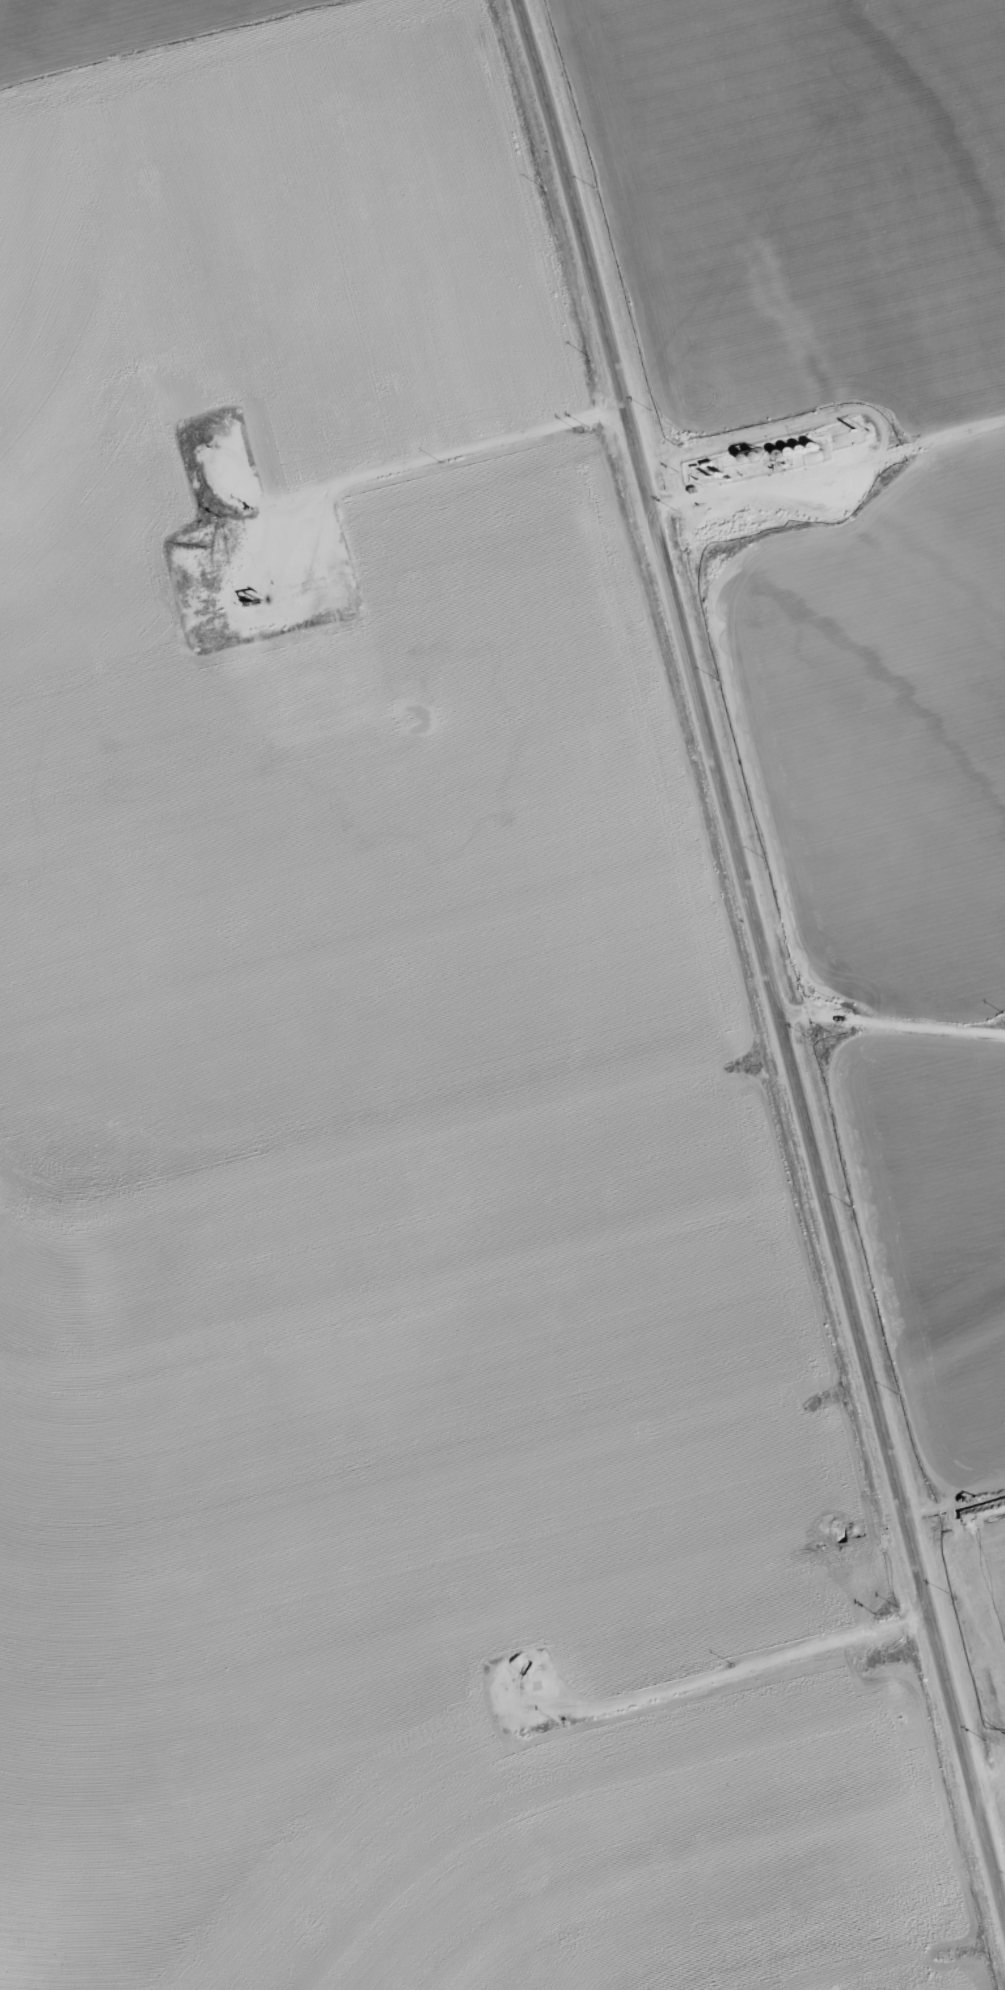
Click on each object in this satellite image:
road: (832, 498)
road: (764, 958)
road: (749, 1642)

